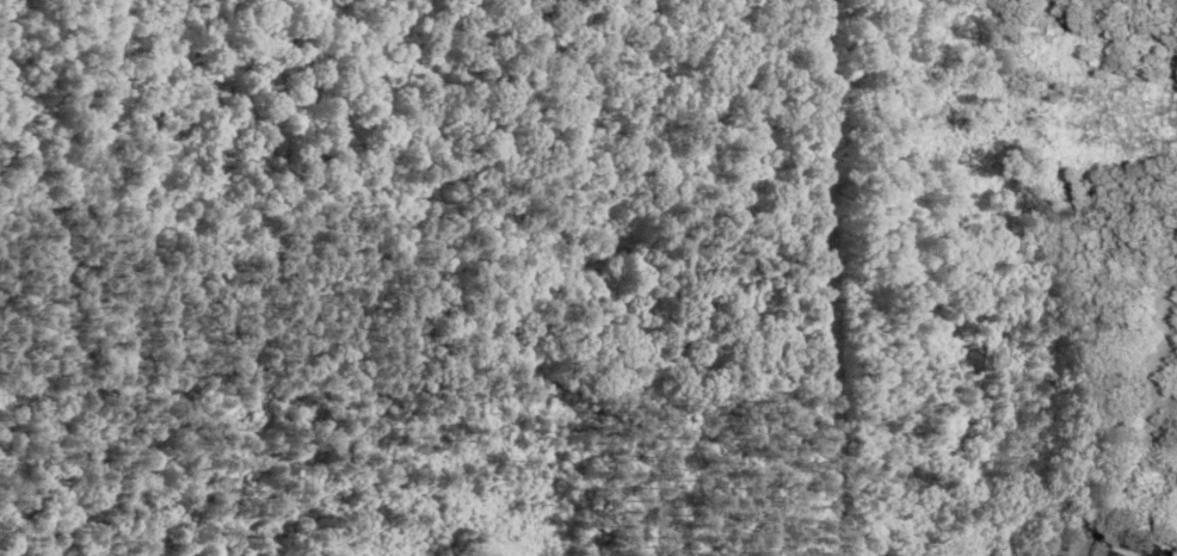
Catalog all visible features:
building: (1114, 549)
building: (1165, 555)

